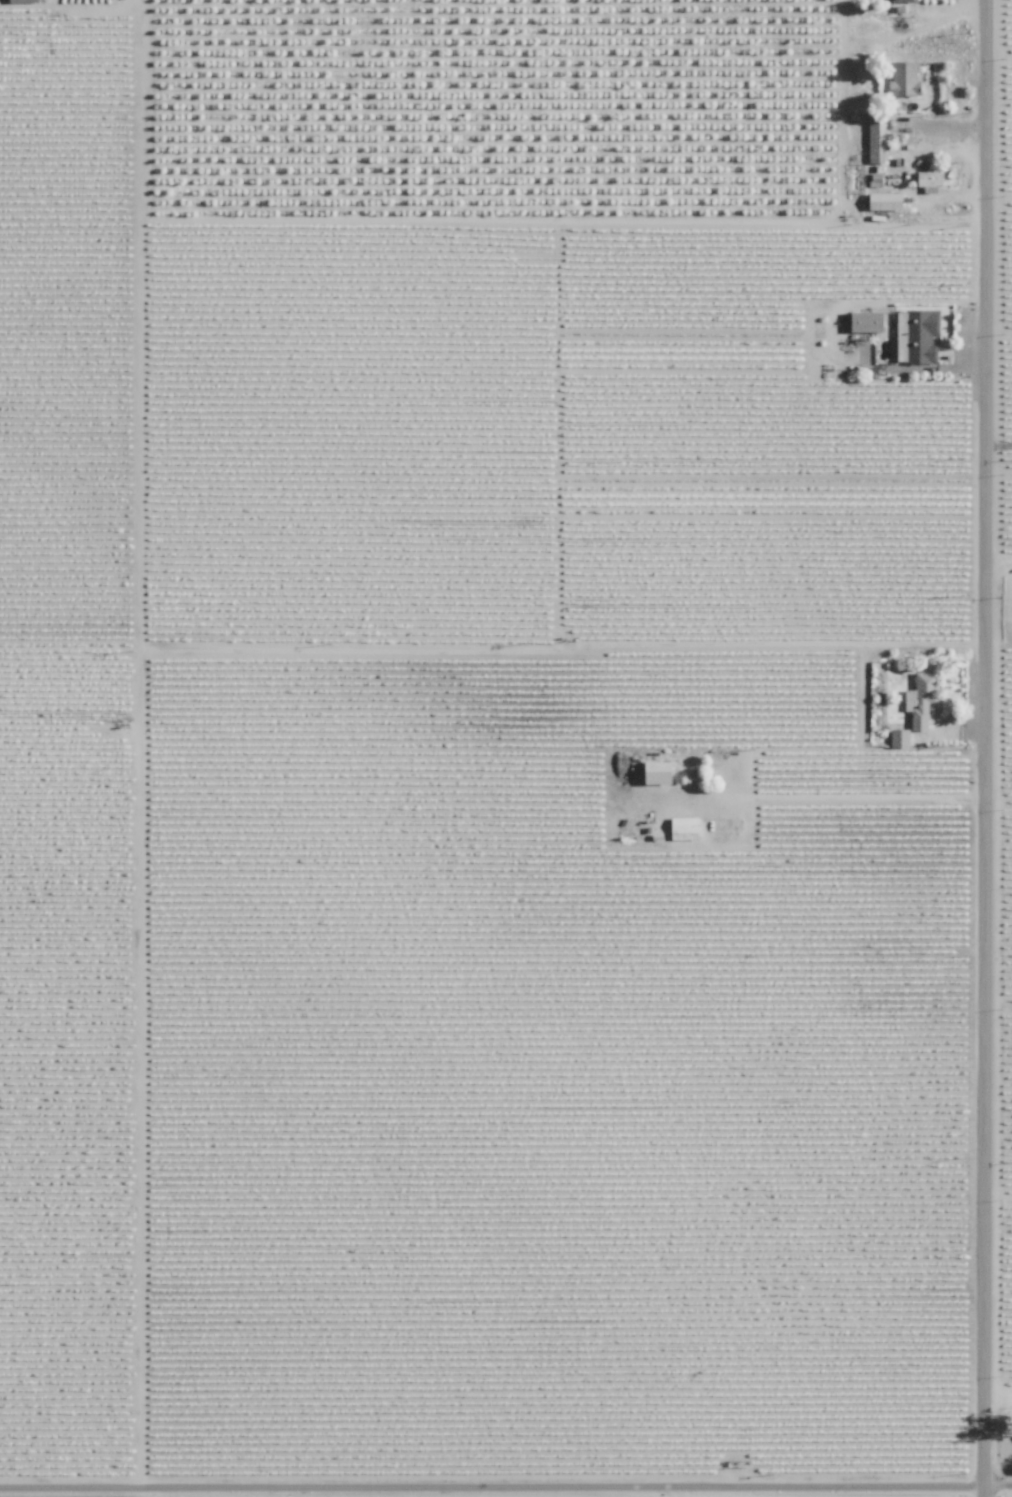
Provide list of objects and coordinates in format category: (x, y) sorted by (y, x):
building: (902, 1)
building: (905, 79)
building: (868, 321)
road: (1000, 446)
road: (999, 655)
building: (920, 699)
building: (899, 737)
road: (987, 748)
building: (659, 772)
road: (842, 801)
building: (684, 827)
road: (506, 1494)

